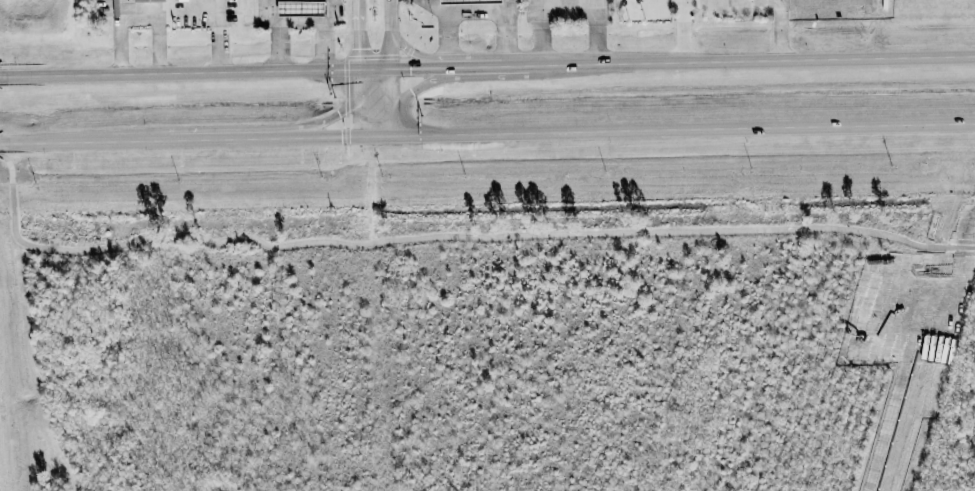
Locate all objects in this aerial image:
building: (149, 1)
building: (470, 2)
road: (438, 7)
building: (301, 9)
road: (331, 12)
road: (474, 14)
road: (137, 16)
road: (300, 21)
road: (780, 29)
road: (682, 32)
road: (542, 33)
road: (596, 33)
road: (357, 35)
road: (221, 46)
traffic signals: (357, 48)
road: (412, 53)
road: (758, 62)
road: (390, 67)
road: (522, 67)
road: (474, 69)
traffic signals: (409, 70)
road: (223, 72)
road: (427, 84)
traffic signals: (412, 92)
road: (357, 102)
road: (336, 115)
traffic signals: (338, 115)
road: (666, 133)
road: (316, 137)
traffic signals: (341, 137)
road: (220, 140)
road: (82, 144)
road: (1, 157)
road: (10, 168)
road: (10, 199)
road: (455, 237)
road: (951, 247)

